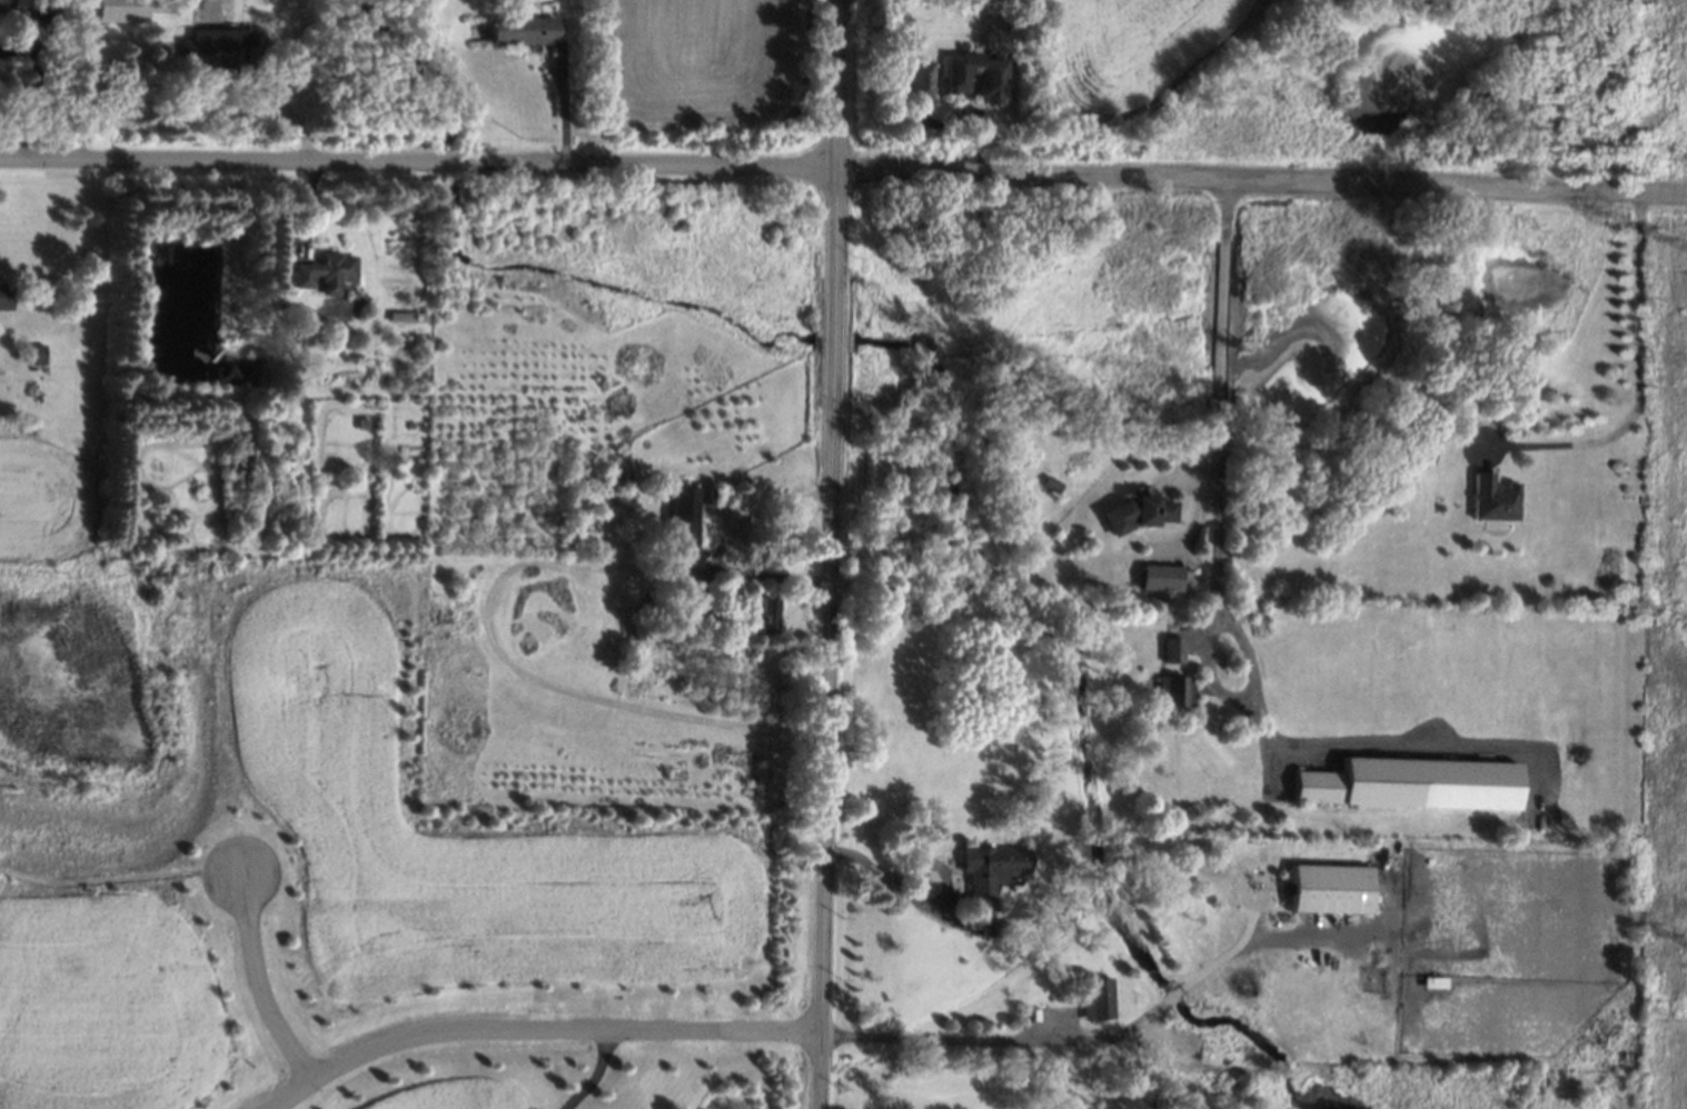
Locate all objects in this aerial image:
building: (7, 3)
building: (119, 10)
building: (525, 31)
building: (214, 48)
building: (922, 79)
building: (992, 82)
road: (841, 86)
road: (564, 98)
road: (843, 171)
building: (326, 271)
building: (4, 296)
building: (36, 353)
road: (1638, 387)
road: (1220, 469)
building: (1053, 483)
building: (705, 494)
building: (1497, 499)
building: (1139, 513)
building: (684, 521)
road: (773, 576)
building: (1160, 577)
road: (489, 598)
building: (767, 615)
power tower: (1686, 617)
road: (830, 640)
building: (1173, 650)
building: (1175, 691)
building: (1365, 782)
building: (991, 870)
road: (119, 877)
road: (893, 881)
building: (1330, 887)
road: (1234, 950)
road: (262, 981)
road: (1177, 997)
building: (1096, 998)
power tower: (1683, 1019)
road: (538, 1029)
road: (1003, 1045)
road: (597, 1073)

